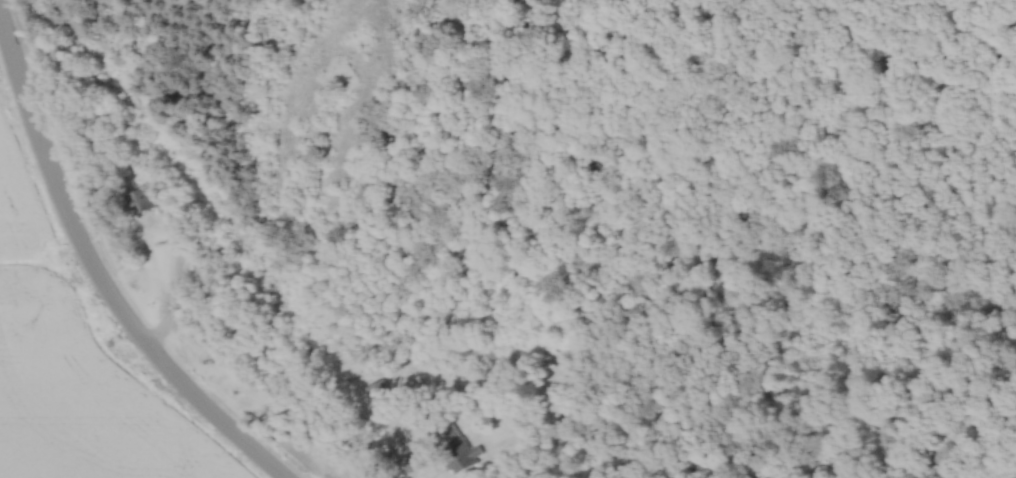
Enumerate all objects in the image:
building: (139, 198)
road: (105, 295)
building: (376, 390)
building: (454, 449)

